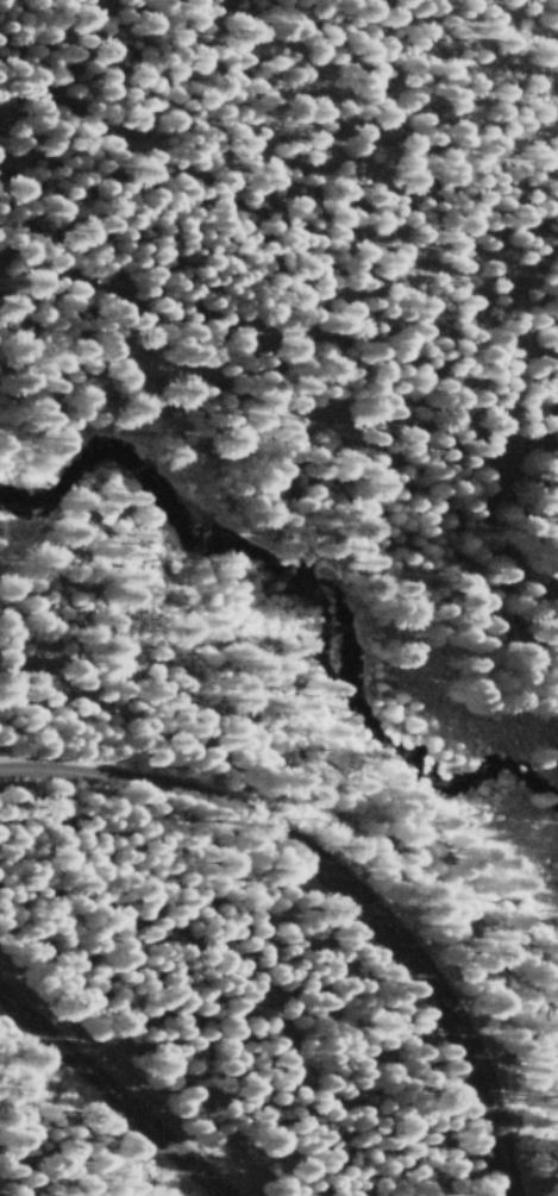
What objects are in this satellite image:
road: (332, 887)
road: (112, 1095)

